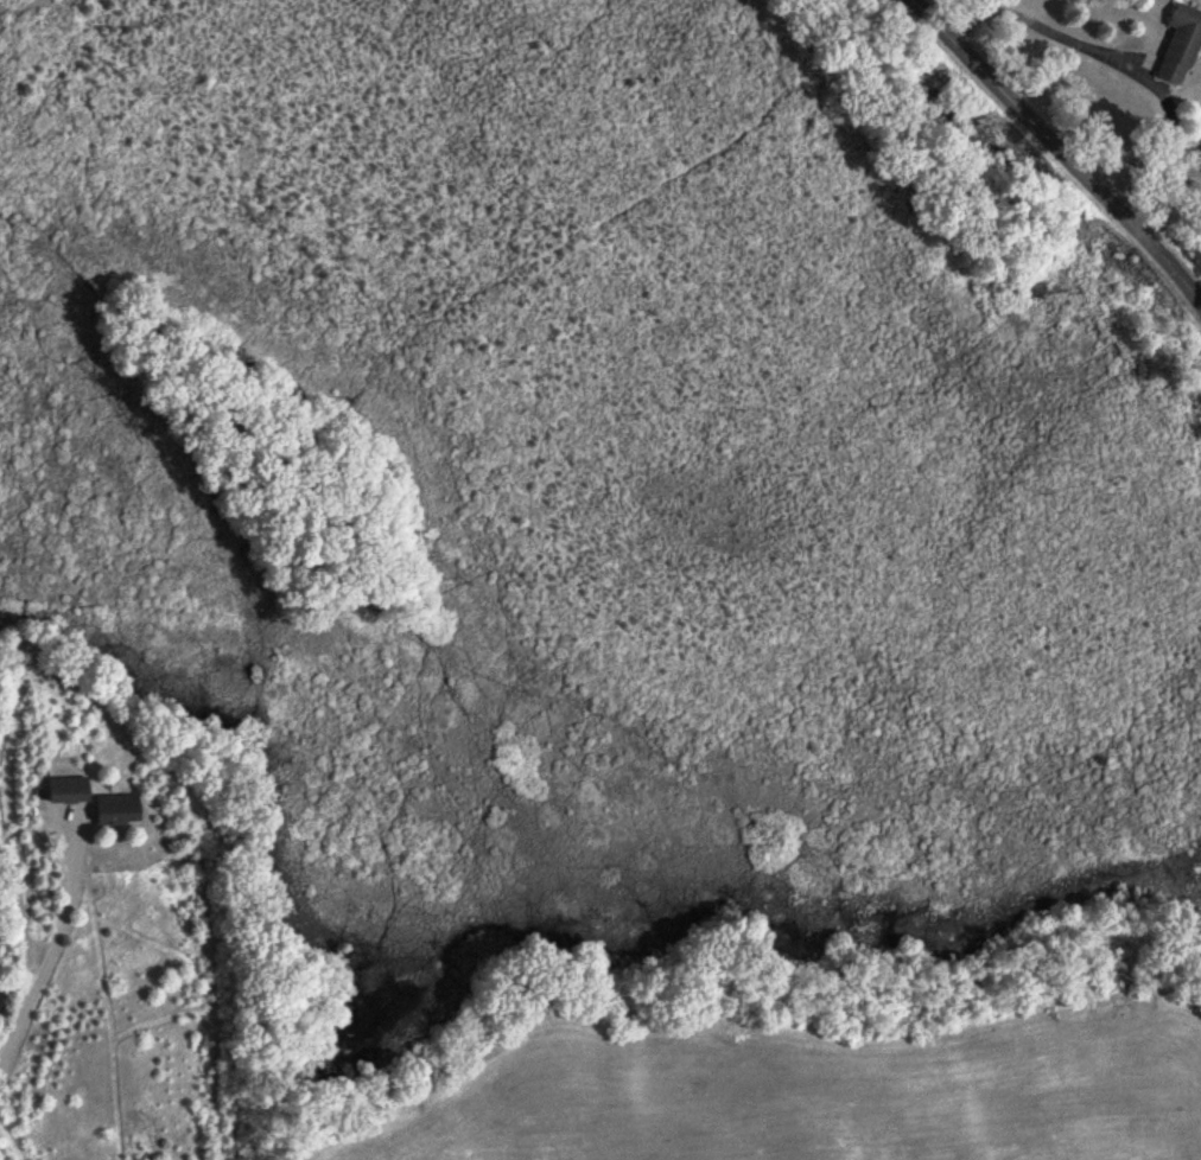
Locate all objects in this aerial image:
road: (1015, 5)
road: (1089, 47)
building: (1184, 50)
road: (1056, 152)
road: (1146, 172)
building: (74, 790)
building: (122, 810)
road: (52, 950)

